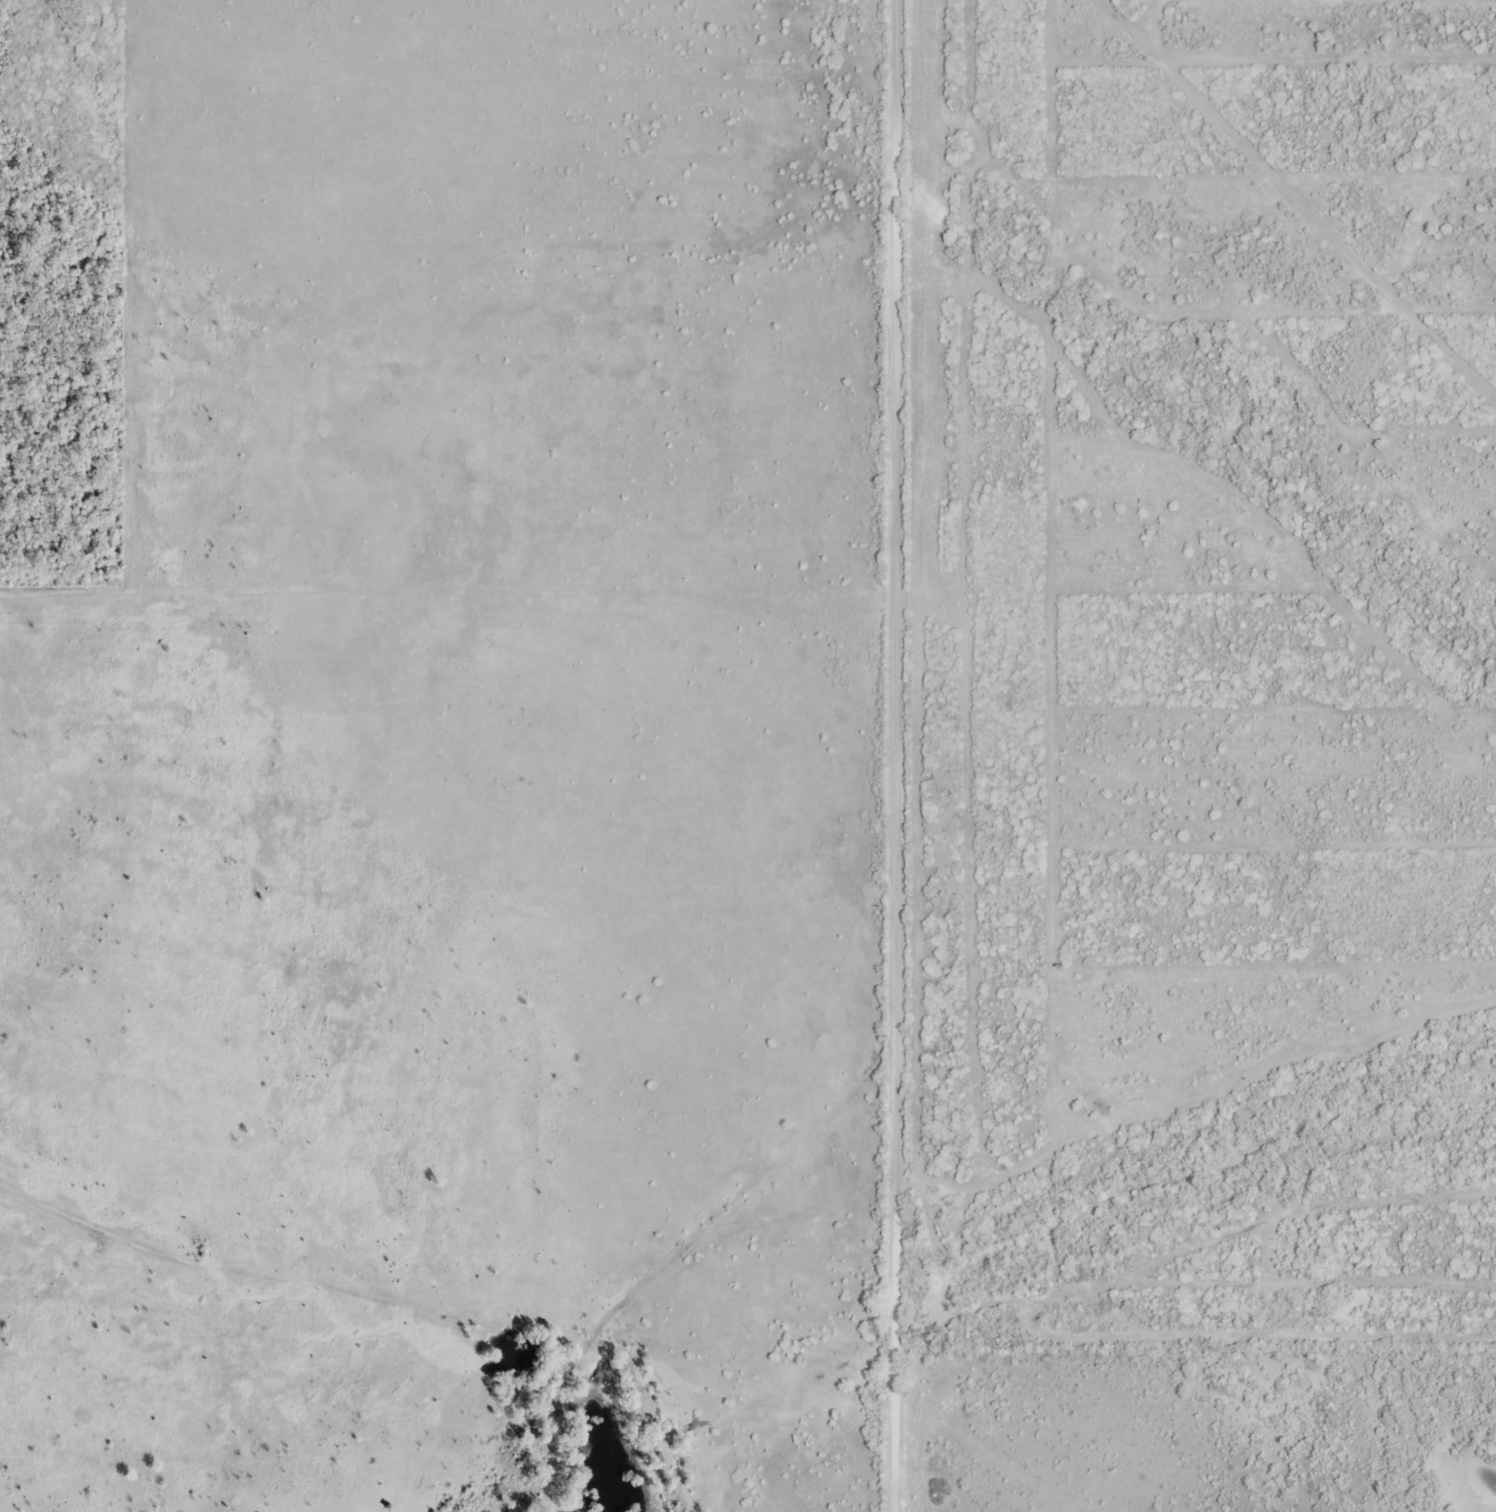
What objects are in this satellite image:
road: (893, 756)

